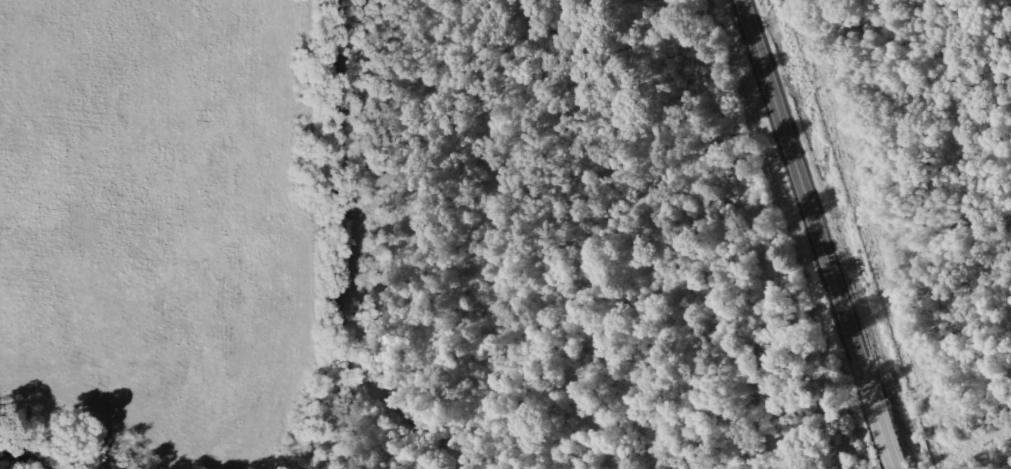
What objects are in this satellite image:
road: (818, 234)

